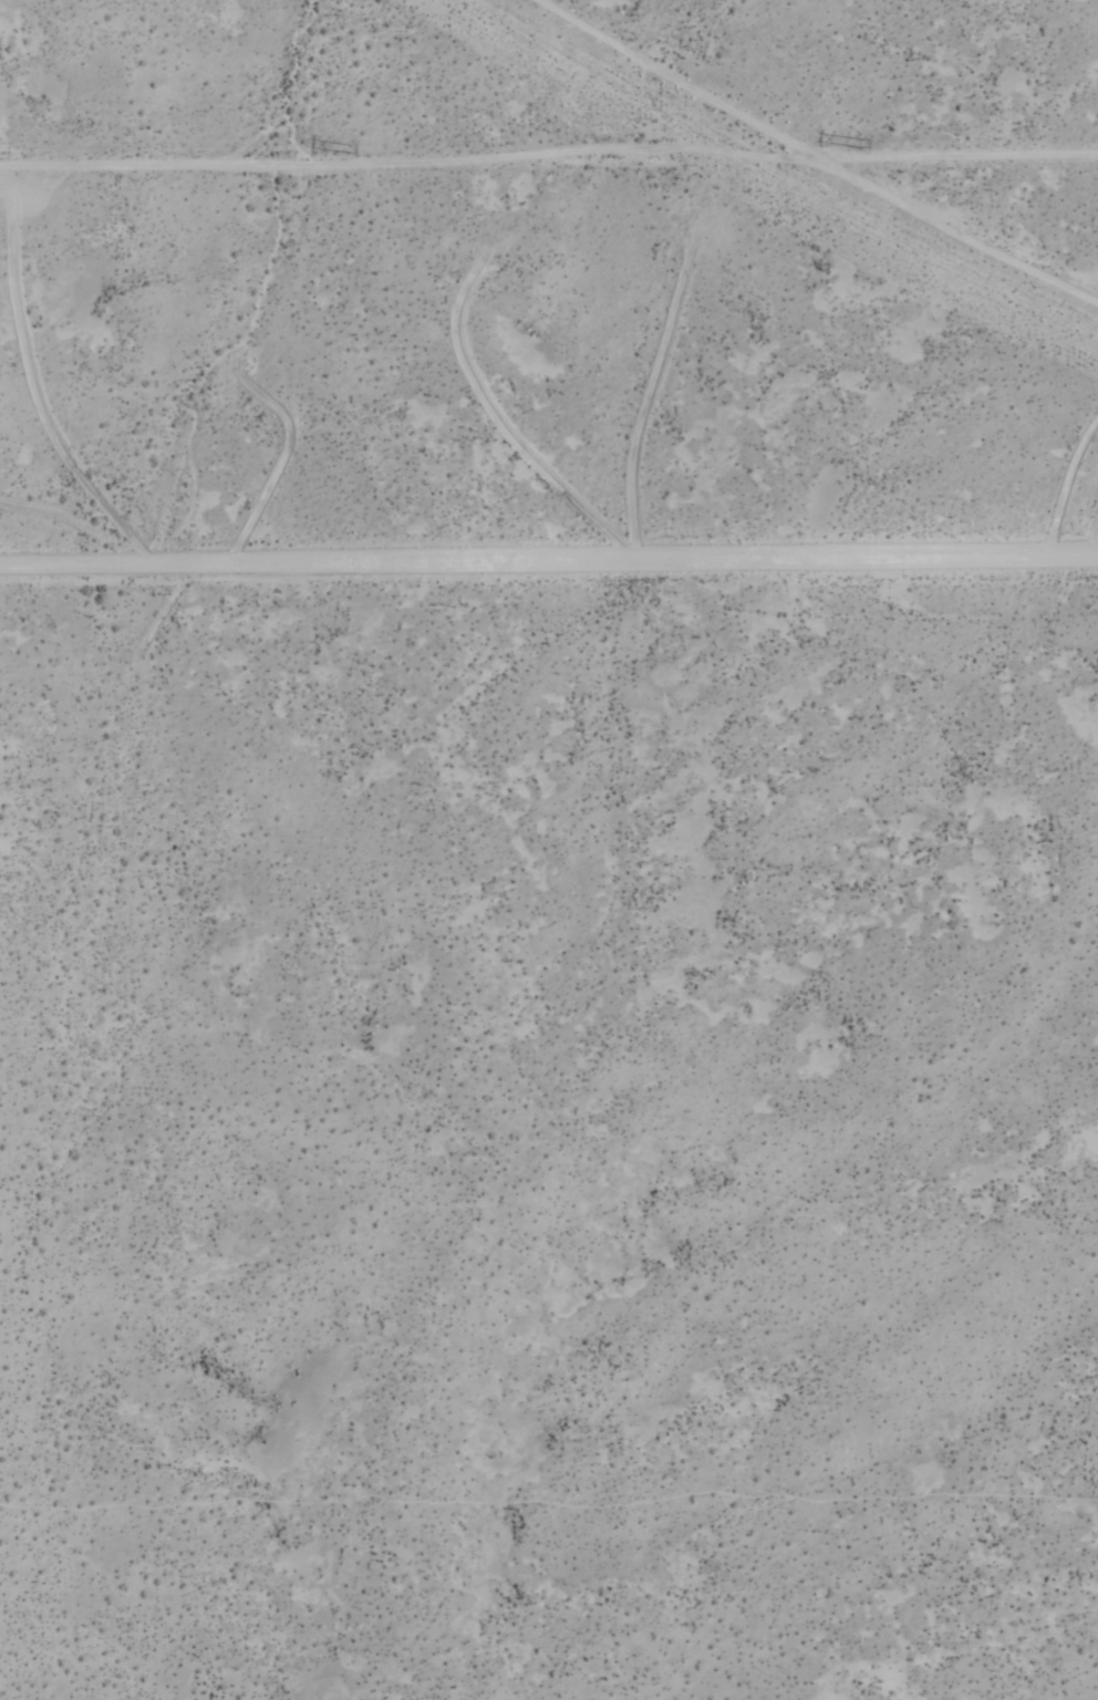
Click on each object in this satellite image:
power tower: (858, 144)
power tower: (350, 148)
road: (815, 157)
road: (549, 159)
road: (549, 559)

